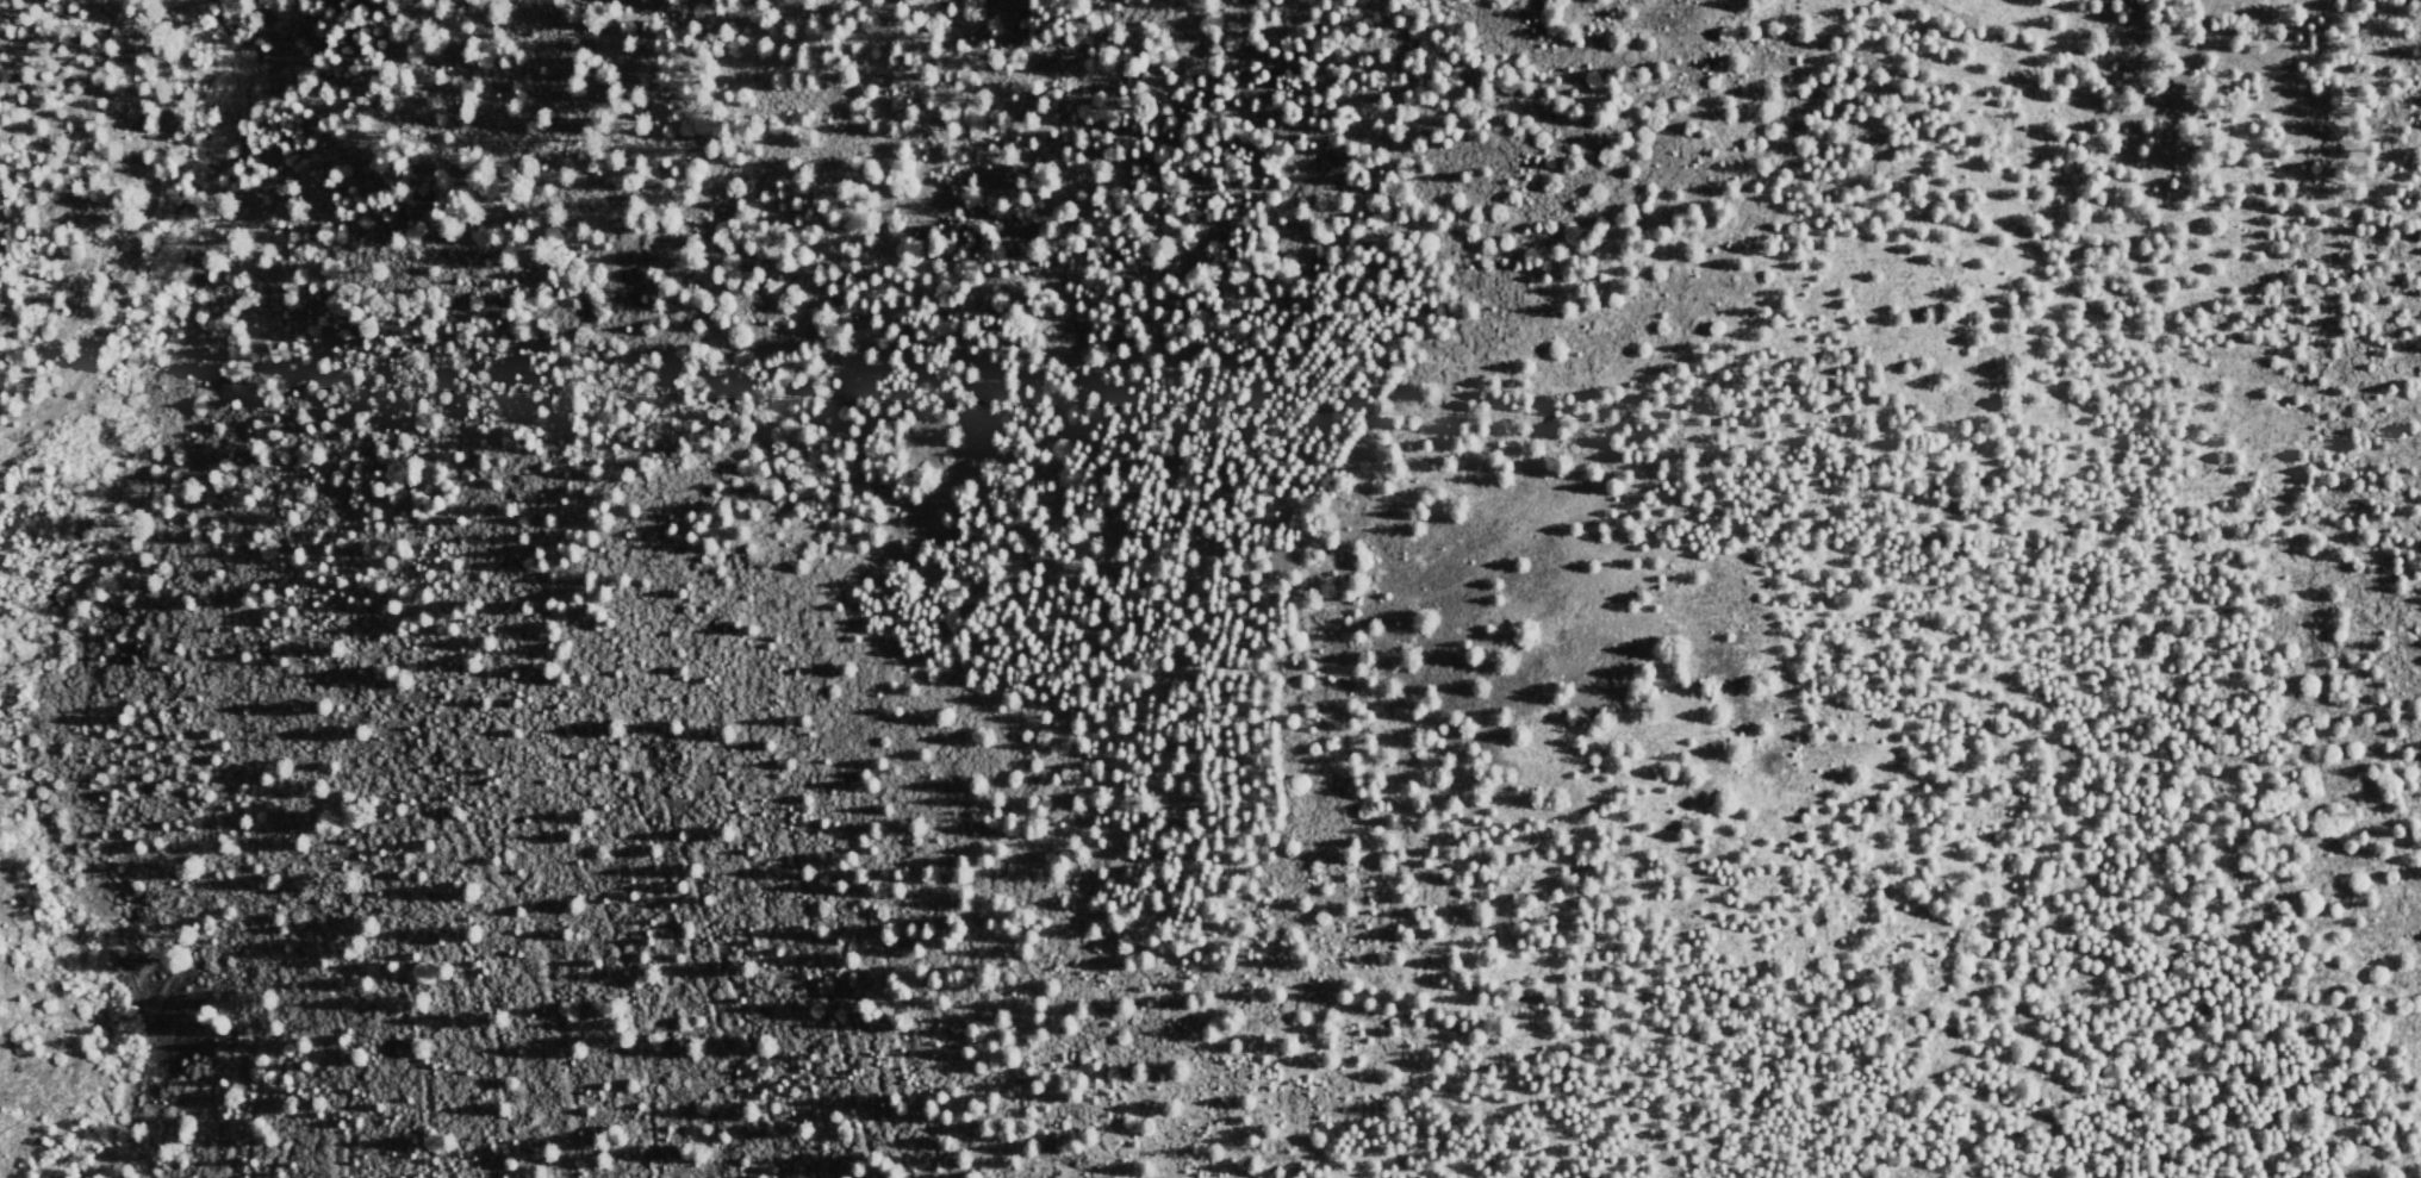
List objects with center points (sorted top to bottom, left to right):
road: (144, 236)

